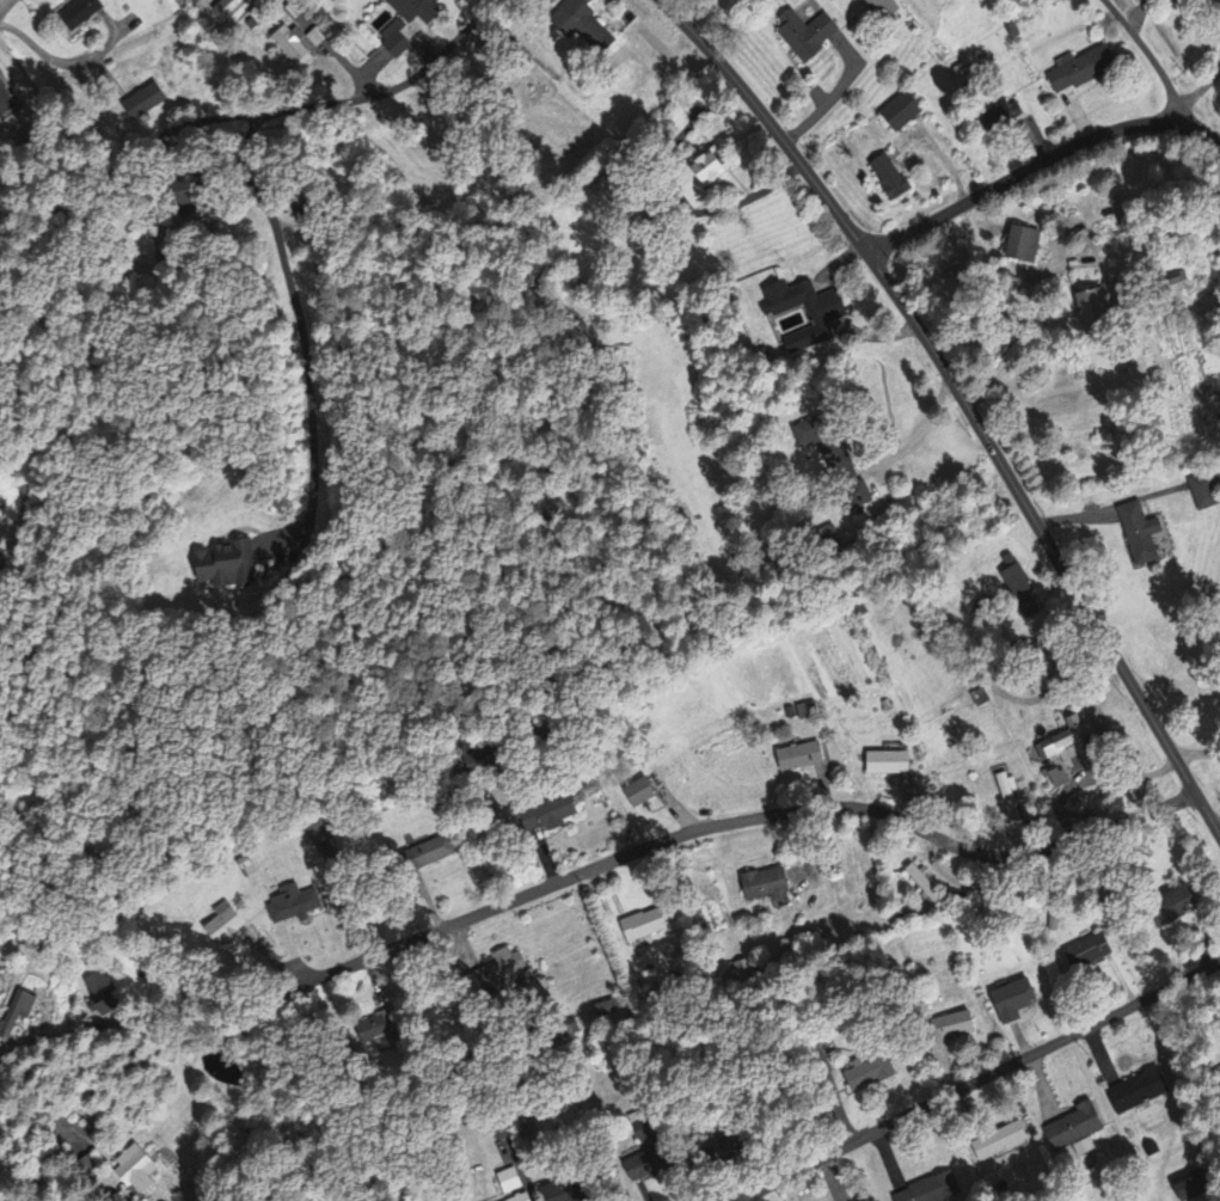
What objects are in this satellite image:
road: (6, 7)
building: (229, 8)
building: (887, 8)
building: (417, 10)
building: (84, 14)
building: (588, 24)
building: (809, 35)
building: (317, 38)
building: (293, 45)
road: (38, 49)
road: (321, 49)
road: (1151, 57)
building: (1077, 72)
building: (5, 98)
building: (146, 102)
building: (905, 111)
road: (770, 122)
road: (1040, 160)
building: (716, 167)
building: (893, 178)
building: (1026, 245)
building: (830, 318)
building: (828, 446)
building: (1206, 492)
building: (1144, 534)
road: (1047, 541)
building: (225, 564)
building: (808, 712)
building: (1071, 745)
building: (803, 758)
building: (891, 765)
building: (1062, 780)
building: (643, 793)
building: (1012, 805)
building: (550, 816)
road: (731, 819)
road: (1216, 823)
building: (431, 853)
building: (771, 887)
building: (926, 887)
building: (296, 905)
building: (648, 926)
building: (227, 927)
building: (1091, 952)
building: (507, 973)
building: (103, 995)
building: (1017, 1001)
building: (19, 1012)
building: (963, 1025)
road: (53, 1040)
building: (873, 1072)
road: (977, 1080)
building: (1140, 1092)
building: (1077, 1128)
building: (139, 1171)
building: (514, 1185)
building: (565, 1191)

